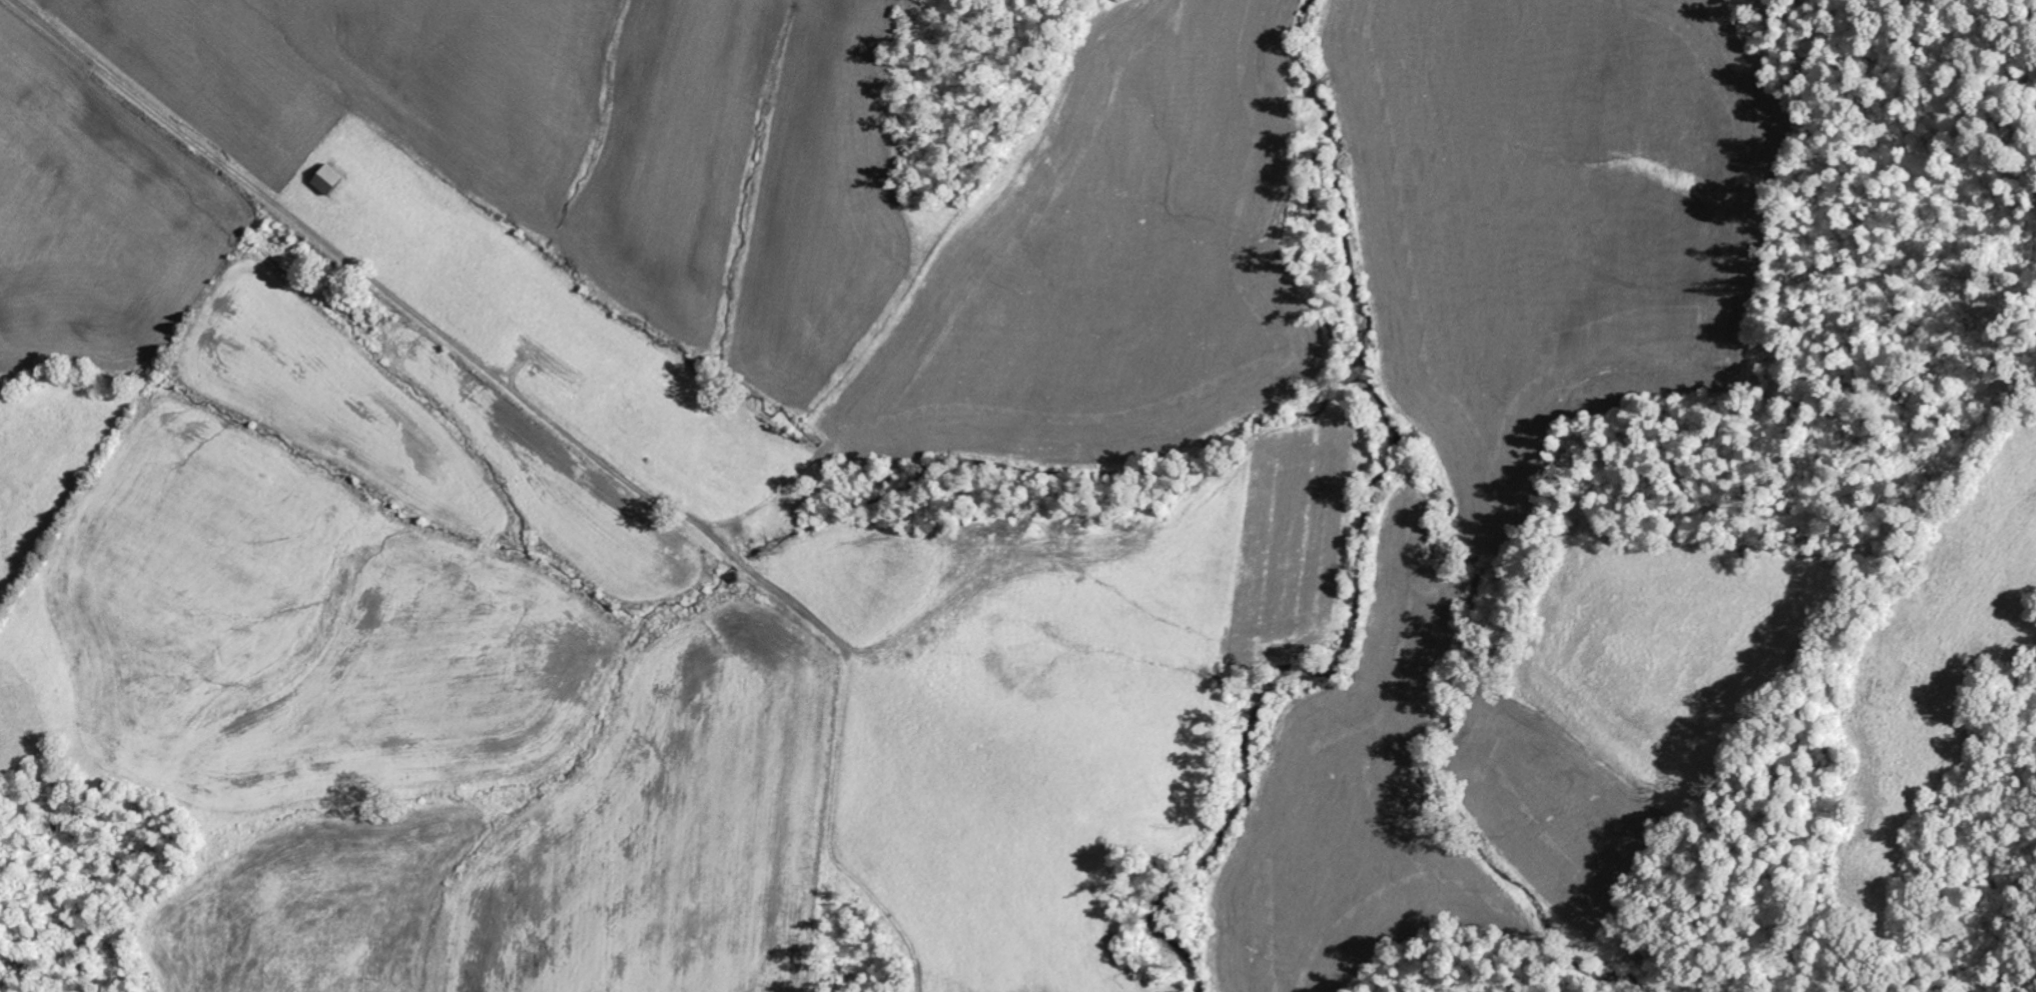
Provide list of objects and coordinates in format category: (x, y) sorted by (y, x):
building: (334, 179)

